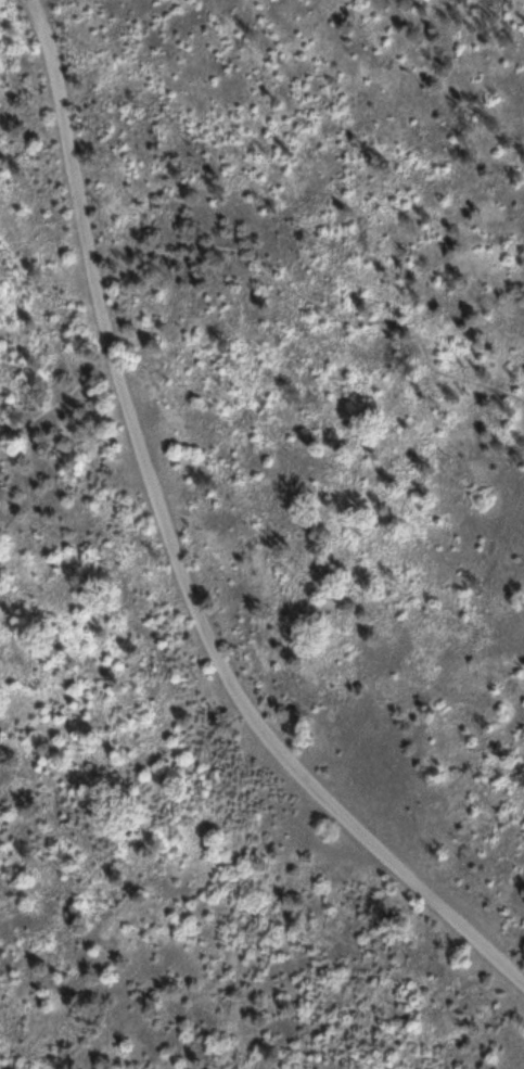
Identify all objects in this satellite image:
road: (234, 251)
road: (176, 547)

